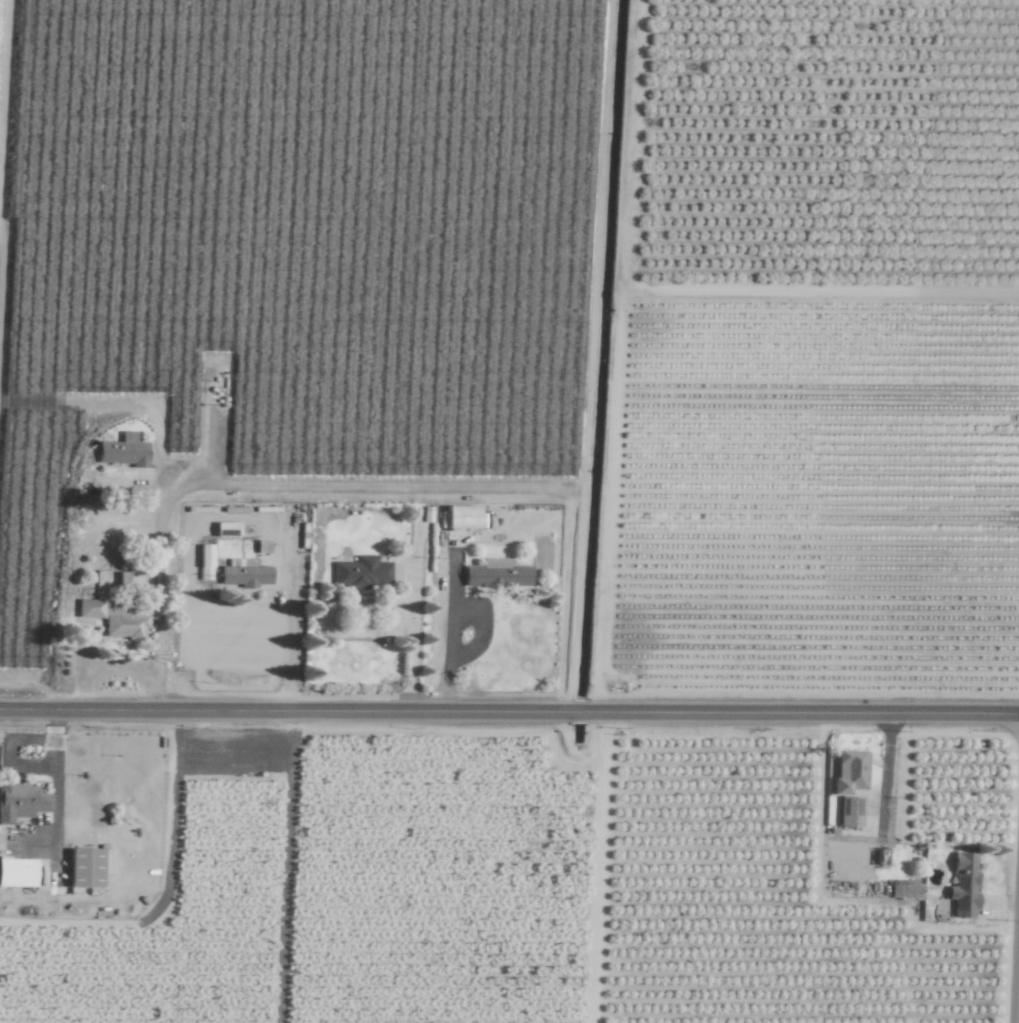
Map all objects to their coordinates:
road: (2, 279)
road: (589, 356)
road: (98, 401)
building: (125, 451)
road: (369, 488)
building: (465, 517)
building: (205, 562)
building: (246, 573)
building: (363, 573)
building: (498, 574)
road: (160, 579)
road: (366, 605)
building: (115, 621)
road: (290, 623)
road: (446, 656)
road: (509, 713)
building: (851, 772)
building: (22, 801)
building: (87, 868)
building: (18, 873)
building: (965, 886)
road: (1015, 917)

